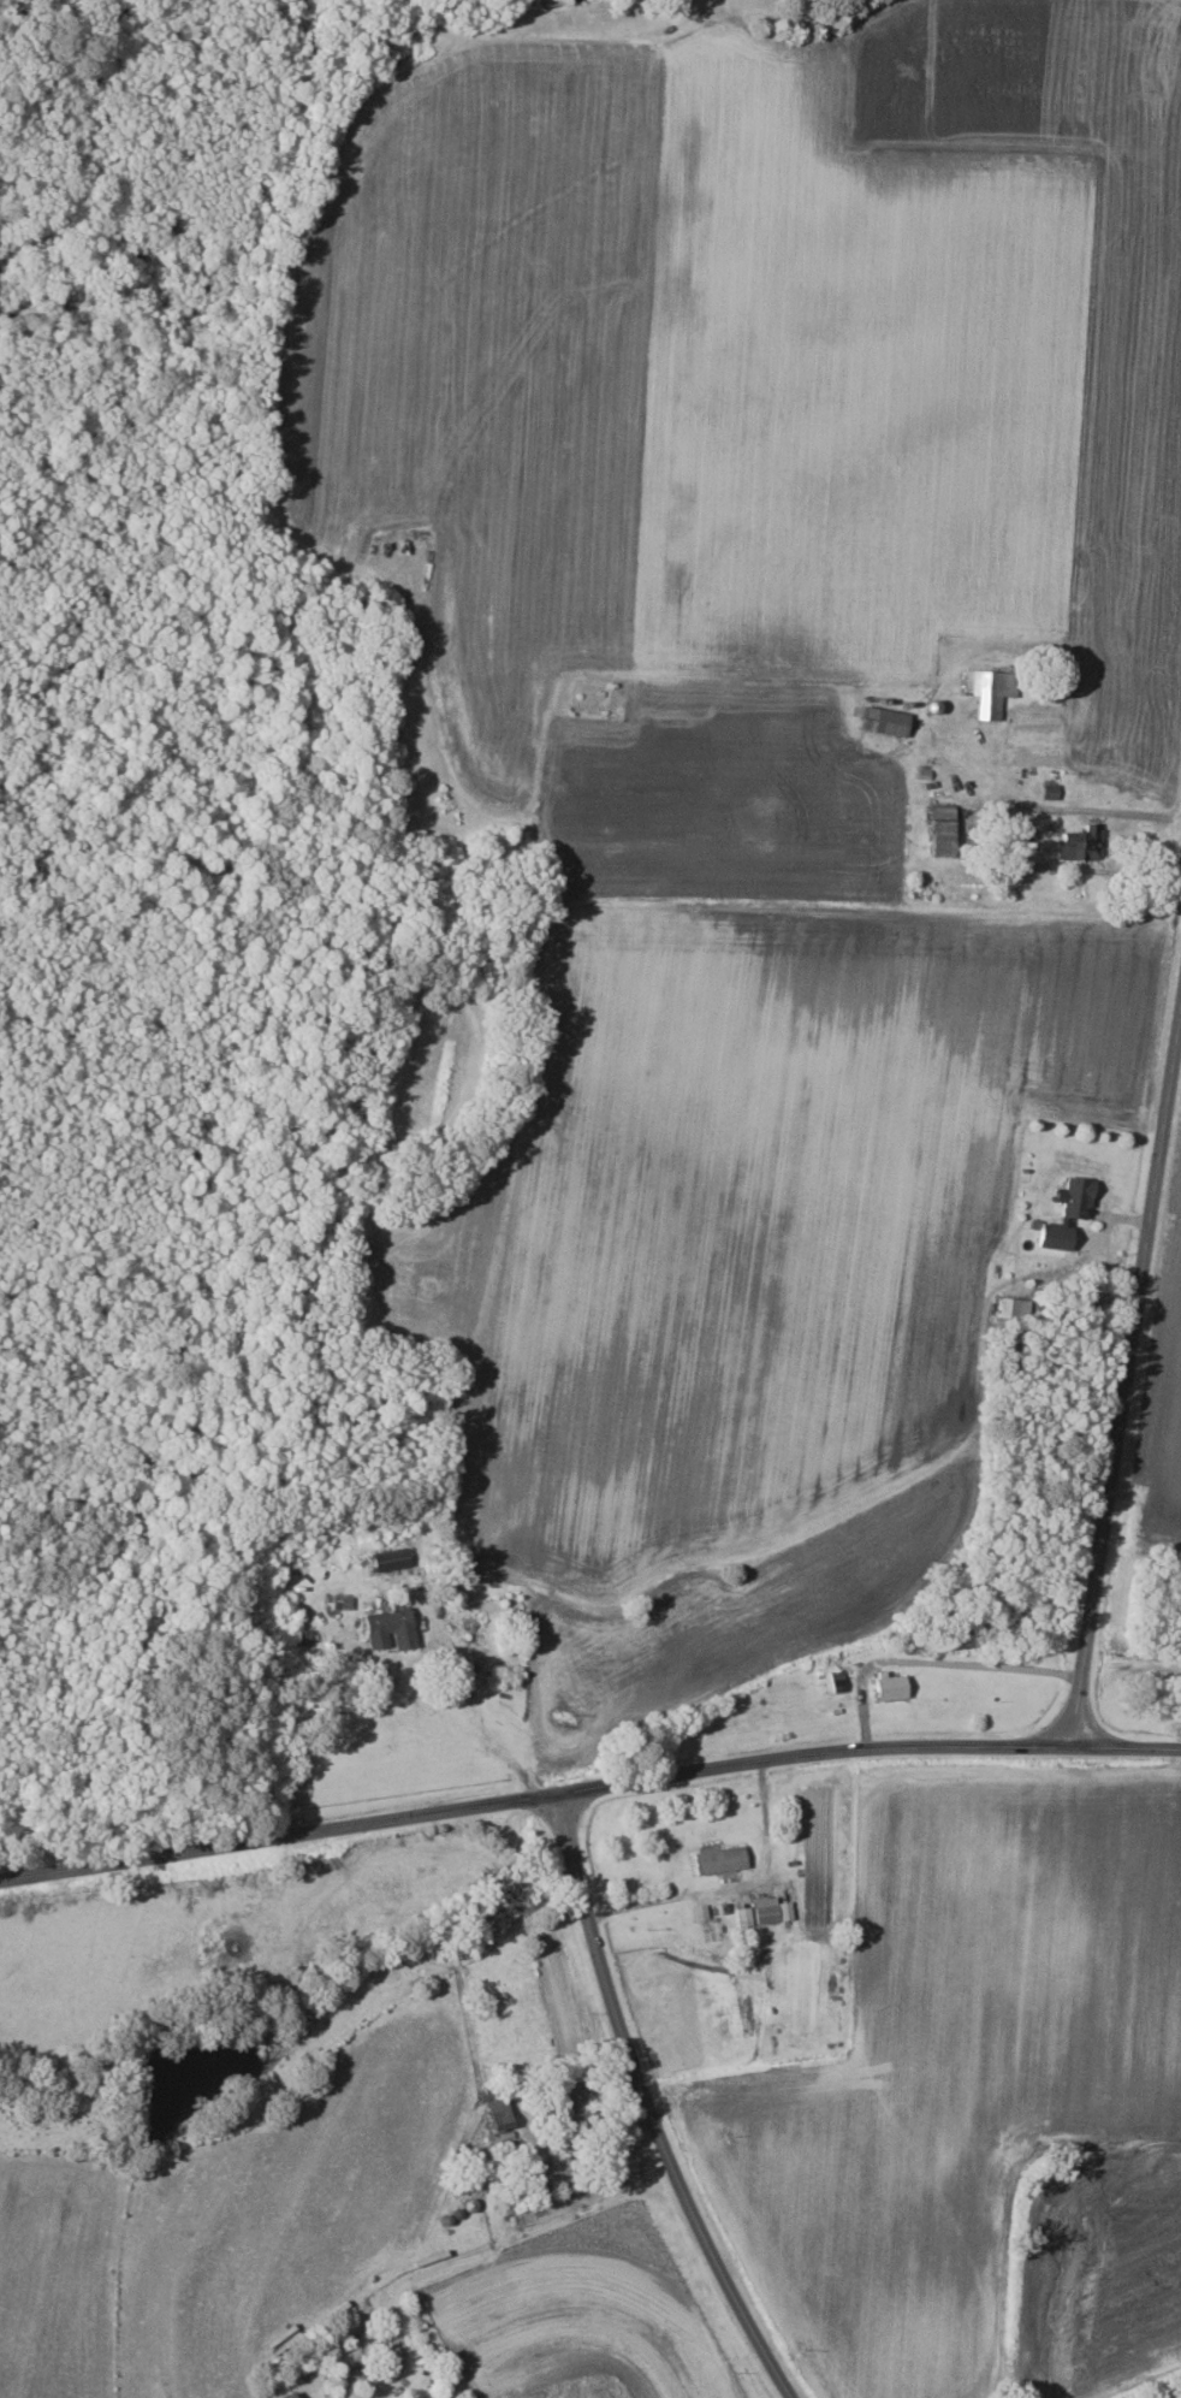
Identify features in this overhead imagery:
building: (987, 691)
building: (886, 721)
building: (937, 831)
road: (983, 834)
building: (1076, 845)
building: (1074, 1197)
building: (1051, 1236)
building: (1016, 1308)
road: (1126, 1378)
building: (394, 1559)
building: (385, 1628)
building: (305, 1636)
road: (932, 1662)
building: (888, 1686)
road: (471, 1715)
road: (588, 1792)
building: (717, 1860)
building: (764, 1912)
building: (574, 2103)
road: (645, 2108)
building: (495, 2113)
building: (550, 2174)
road: (413, 2280)
building: (283, 2394)
building: (293, 2394)

